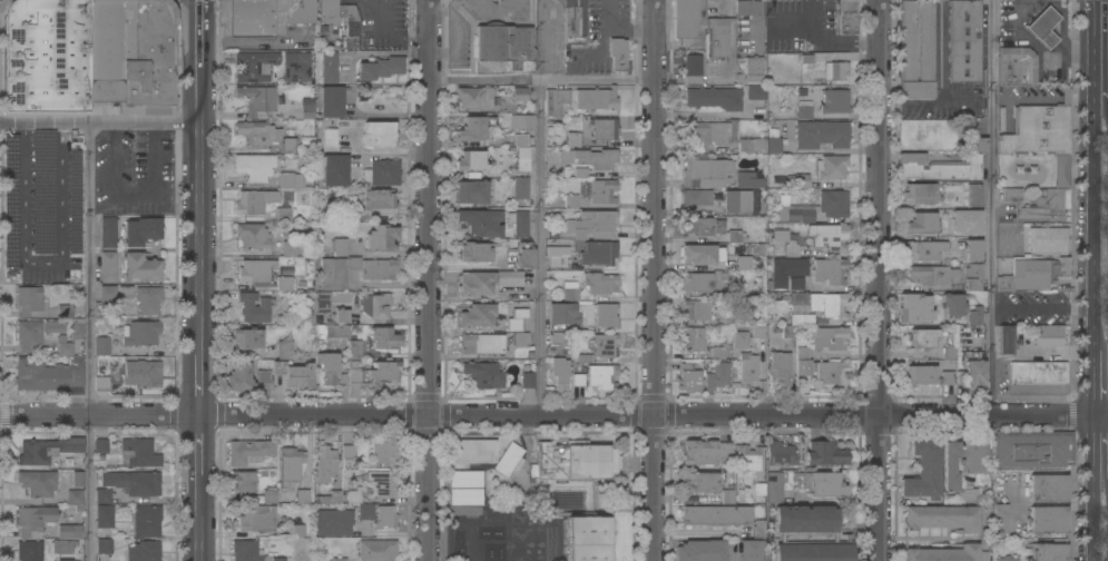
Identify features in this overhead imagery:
building: (746, 8)
building: (262, 16)
road: (370, 16)
road: (382, 16)
building: (847, 16)
building: (330, 17)
building: (687, 18)
building: (351, 21)
building: (575, 21)
road: (802, 23)
building: (1042, 26)
road: (628, 30)
road: (200, 33)
building: (718, 37)
road: (404, 39)
building: (963, 40)
road: (837, 42)
building: (504, 45)
building: (908, 46)
road: (1102, 48)
building: (617, 53)
building: (133, 55)
building: (46, 56)
building: (254, 66)
road: (567, 66)
building: (330, 67)
building: (297, 68)
building: (380, 68)
building: (693, 68)
road: (939, 68)
road: (1105, 69)
building: (1013, 70)
building: (751, 71)
building: (836, 71)
road: (547, 72)
road: (484, 81)
road: (598, 81)
building: (755, 91)
building: (518, 93)
building: (474, 97)
building: (715, 98)
building: (257, 99)
building: (596, 99)
building: (555, 100)
building: (834, 100)
building: (331, 101)
building: (306, 102)
road: (1105, 104)
road: (952, 105)
building: (801, 110)
building: (307, 111)
building: (523, 121)
road: (100, 122)
building: (604, 128)
building: (1038, 128)
building: (471, 129)
building: (258, 132)
building: (379, 134)
building: (713, 134)
building: (821, 134)
building: (329, 138)
building: (573, 138)
building: (974, 144)
building: (288, 145)
building: (751, 145)
building: (773, 145)
building: (522, 151)
building: (589, 158)
building: (470, 160)
building: (9, 161)
building: (256, 166)
building: (831, 167)
building: (938, 167)
building: (1060, 169)
building: (334, 170)
building: (703, 171)
building: (382, 173)
building: (747, 179)
building: (286, 180)
building: (801, 180)
building: (520, 188)
building: (601, 190)
building: (42, 191)
building: (471, 191)
road: (134, 194)
building: (918, 194)
building: (973, 194)
building: (696, 197)
building: (570, 200)
building: (742, 201)
building: (248, 203)
building: (833, 203)
building: (370, 204)
building: (1038, 204)
road: (993, 207)
building: (382, 213)
building: (794, 213)
road: (200, 215)
building: (282, 215)
building: (965, 222)
building: (480, 223)
building: (519, 223)
building: (921, 223)
building: (592, 224)
road: (1094, 225)
building: (702, 226)
building: (139, 230)
building: (108, 232)
building: (252, 235)
building: (828, 235)
building: (737, 236)
building: (781, 236)
building: (381, 237)
building: (1048, 239)
building: (339, 247)
building: (288, 248)
road: (541, 248)
building: (791, 249)
building: (923, 249)
building: (971, 249)
building: (474, 252)
building: (598, 253)
building: (700, 254)
building: (523, 255)
building: (557, 260)
road: (42, 262)
building: (739, 264)
building: (108, 266)
building: (140, 267)
building: (255, 270)
building: (785, 270)
building: (830, 270)
building: (933, 274)
building: (1033, 274)
building: (379, 275)
building: (979, 277)
building: (508, 278)
road: (429, 279)
road: (656, 279)
building: (702, 280)
road: (875, 280)
building: (285, 283)
building: (475, 283)
building: (599, 283)
building: (795, 284)
building: (738, 291)
building: (107, 292)
building: (569, 292)
building: (797, 297)
building: (29, 299)
building: (147, 299)
building: (322, 303)
building: (952, 304)
building: (375, 305)
building: (828, 305)
building: (253, 307)
building: (913, 308)
building: (698, 309)
building: (65, 311)
building: (341, 315)
building: (477, 315)
building: (562, 315)
building: (606, 315)
building: (974, 316)
building: (728, 318)
building: (517, 319)
building: (796, 324)
building: (53, 326)
building: (77, 327)
building: (335, 331)
building: (758, 331)
building: (140, 333)
building: (28, 334)
building: (1048, 335)
building: (921, 337)
building: (246, 338)
building: (382, 338)
building: (520, 338)
building: (557, 338)
building: (693, 339)
building: (739, 339)
building: (828, 339)
building: (1004, 339)
road: (90, 341)
building: (482, 344)
building: (605, 344)
building: (101, 346)
road: (1106, 346)
building: (65, 348)
building: (284, 350)
building: (354, 350)
building: (716, 353)
building: (949, 353)
building: (327, 367)
building: (748, 368)
building: (779, 368)
building: (372, 371)
building: (822, 371)
building: (558, 372)
building: (973, 372)
building: (1038, 372)
building: (143, 374)
building: (294, 374)
building: (484, 374)
building: (921, 374)
building: (46, 375)
building: (601, 376)
building: (717, 376)
building: (238, 377)
building: (263, 377)
building: (947, 377)
building: (688, 378)
building: (528, 380)
building: (577, 380)
road: (1105, 382)
building: (100, 383)
road: (199, 388)
road: (553, 416)
building: (100, 445)
building: (1032, 449)
building: (47, 450)
road: (1105, 450)
building: (248, 451)
building: (347, 451)
building: (474, 451)
building: (725, 451)
building: (140, 452)
building: (384, 452)
building: (698, 452)
road: (200, 453)
building: (825, 453)
building: (779, 454)
building: (977, 456)
road: (1106, 459)
building: (509, 460)
building: (291, 463)
building: (324, 464)
building: (950, 466)
building: (753, 467)
building: (923, 471)
building: (78, 479)
building: (465, 479)
building: (245, 480)
building: (699, 482)
building: (37, 483)
building: (382, 483)
building: (822, 484)
road: (1107, 485)
building: (128, 486)
building: (774, 486)
building: (1048, 488)
building: (577, 490)
building: (968, 494)
building: (75, 496)
building: (268, 496)
building: (302, 496)
building: (465, 496)
building: (728, 496)
building: (330, 498)
building: (464, 510)
building: (373, 511)
building: (104, 515)
building: (716, 515)
building: (983, 515)
building: (942, 516)
building: (33, 519)
building: (256, 519)
building: (146, 520)
building: (1000, 520)
building: (1048, 520)
road: (1092, 520)
building: (333, 522)
road: (200, 525)
building: (758, 529)
building: (69, 531)
building: (295, 531)
building: (806, 534)
building: (62, 547)
building: (102, 549)
building: (29, 550)
building: (246, 550)
building: (376, 550)
building: (700, 550)
building: (749, 550)
building: (143, 551)
building: (1049, 552)
building: (944, 553)
building: (983, 555)
building: (278, 559)
building: (339, 559)
building: (1007, 559)
building: (65, 560)

